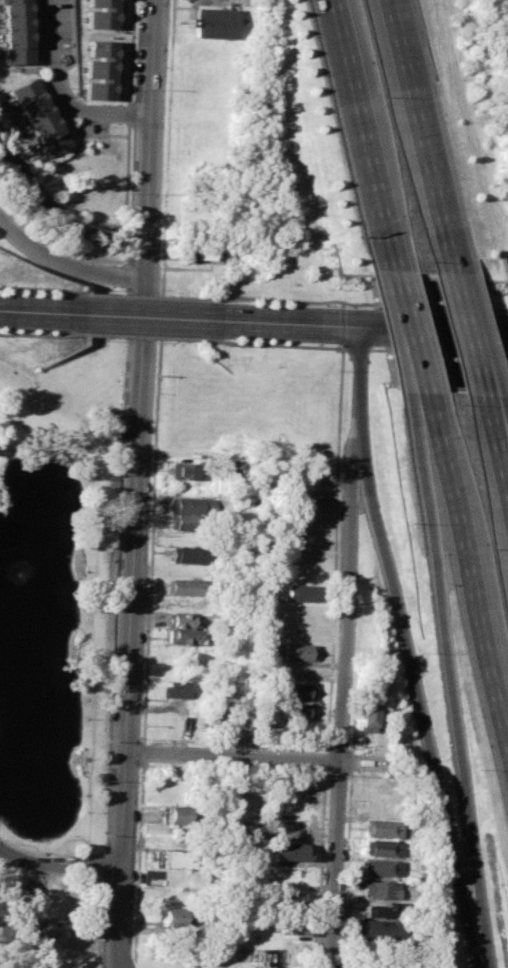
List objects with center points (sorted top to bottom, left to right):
building: (104, 13)
building: (212, 23)
building: (18, 32)
building: (100, 71)
road: (61, 96)
building: (41, 116)
road: (416, 135)
road: (353, 136)
road: (58, 212)
street lamp: (35, 234)
street lamp: (108, 263)
road: (64, 267)
road: (196, 268)
road: (33, 288)
street lamp: (85, 292)
street lamp: (116, 294)
road: (143, 296)
street lamp: (169, 296)
street lamp: (256, 296)
street lamp: (200, 297)
road: (284, 300)
street lamp: (321, 306)
road: (424, 306)
road: (32, 311)
road: (141, 316)
road: (363, 327)
road: (342, 329)
road: (405, 332)
road: (464, 332)
road: (32, 334)
road: (140, 336)
street lamp: (83, 337)
street lamp: (71, 338)
street lamp: (114, 338)
street lamp: (166, 341)
street lamp: (198, 342)
street lamp: (320, 345)
street lamp: (254, 347)
road: (424, 351)
street lamp: (337, 372)
road: (358, 389)
street lamp: (155, 394)
road: (426, 410)
road: (487, 425)
street lamp: (152, 462)
road: (502, 468)
building: (184, 471)
street lamp: (333, 472)
building: (225, 477)
road: (502, 480)
road: (137, 482)
road: (154, 488)
building: (304, 498)
building: (186, 504)
building: (185, 521)
street lamp: (148, 530)
street lamp: (87, 546)
building: (187, 555)
road: (469, 579)
park: (113, 582)
building: (184, 586)
building: (300, 593)
road: (331, 594)
street lamp: (146, 596)
street lamp: (376, 596)
road: (347, 607)
building: (182, 619)
fountain: (15, 627)
building: (184, 637)
street lamp: (87, 648)
building: (296, 651)
street lamp: (144, 664)
street lamp: (332, 677)
building: (174, 690)
building: (297, 691)
road: (455, 698)
road: (422, 709)
building: (293, 711)
building: (367, 715)
street lamp: (85, 718)
fountain: (8, 719)
street lamp: (141, 723)
street lamp: (237, 745)
street lamp: (89, 758)
road: (259, 758)
street lamp: (328, 778)
building: (386, 809)
street lamp: (87, 811)
building: (181, 815)
building: (384, 829)
street lamp: (9, 842)
building: (385, 848)
building: (288, 852)
building: (172, 859)
road: (60, 865)
road: (334, 865)
building: (384, 868)
building: (152, 878)
building: (382, 889)
building: (288, 900)
building: (383, 910)
building: (173, 917)
building: (289, 925)
building: (384, 930)
street lamp: (132, 954)
road: (118, 966)
road: (120, 966)

